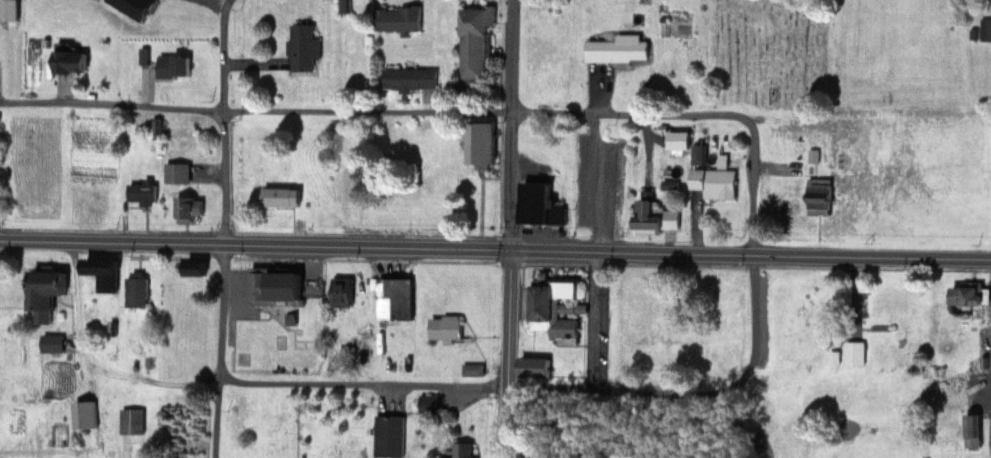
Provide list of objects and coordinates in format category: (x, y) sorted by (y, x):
building: (398, 18)
building: (985, 29)
building: (475, 42)
building: (303, 47)
building: (619, 48)
park: (769, 55)
building: (71, 60)
building: (174, 65)
building: (410, 78)
road: (375, 110)
road: (507, 123)
building: (680, 139)
building: (482, 141)
building: (699, 153)
building: (177, 172)
building: (716, 182)
building: (142, 191)
building: (280, 196)
building: (820, 197)
building: (540, 204)
building: (89, 207)
building: (188, 208)
building: (655, 216)
road: (222, 228)
road: (447, 246)
road: (756, 252)
road: (942, 256)
building: (196, 267)
building: (104, 271)
building: (276, 286)
building: (137, 290)
building: (343, 292)
building: (47, 293)
building: (970, 295)
building: (394, 298)
building: (558, 308)
building: (445, 327)
building: (882, 332)
building: (52, 343)
building: (854, 352)
road: (505, 353)
building: (535, 367)
building: (473, 369)
road: (352, 380)
building: (429, 404)
building: (85, 414)
building: (132, 420)
building: (973, 429)
building: (390, 435)
building: (465, 450)

